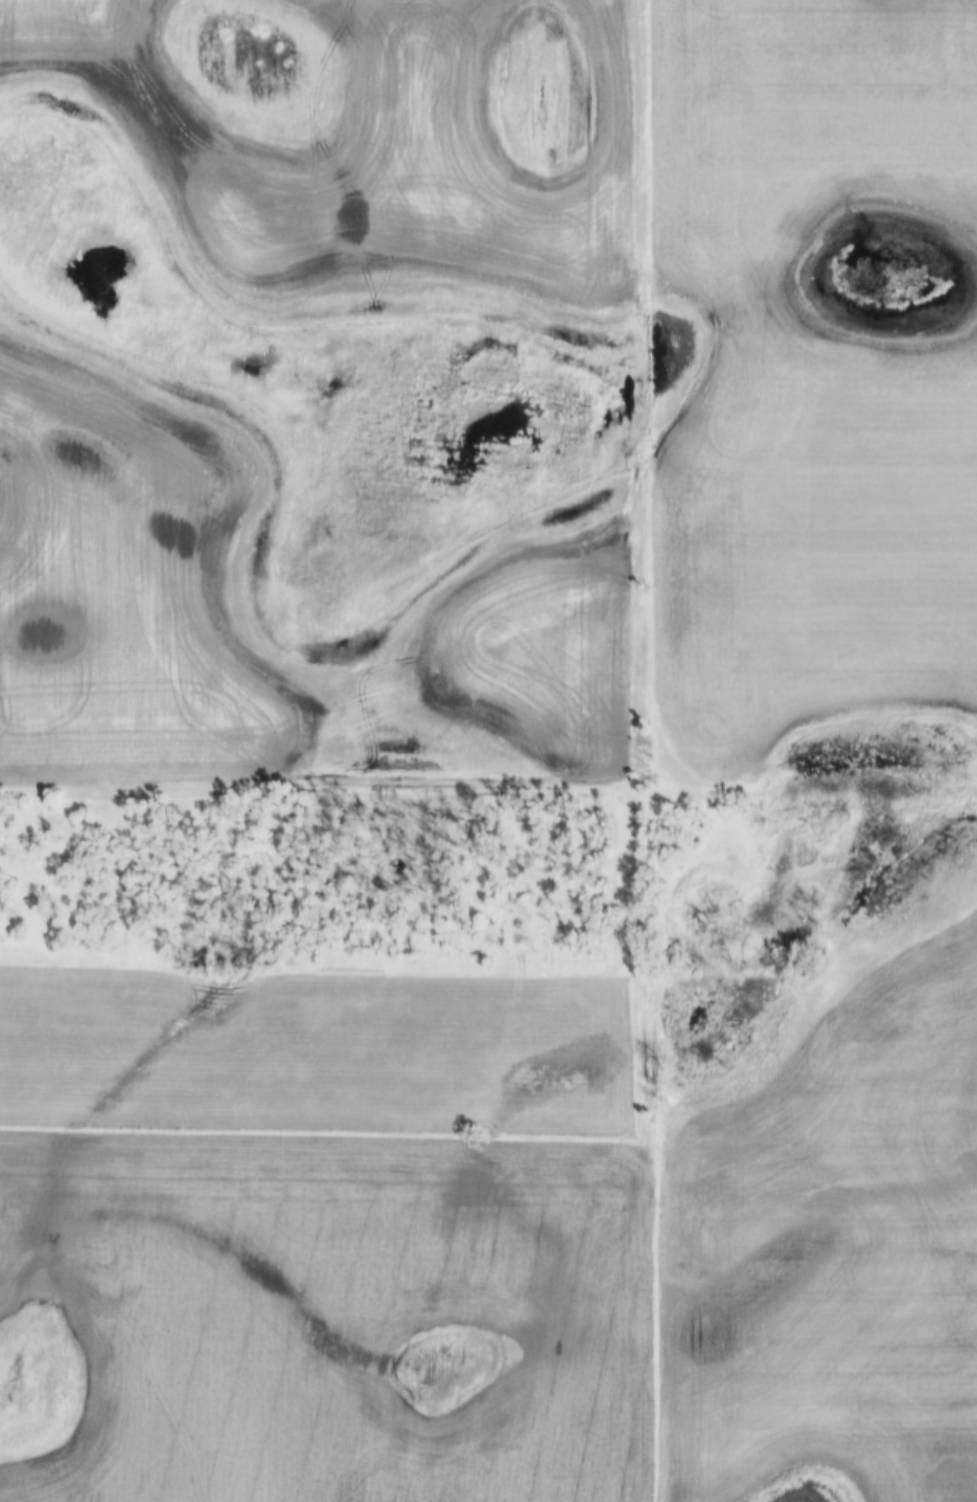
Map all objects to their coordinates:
road: (644, 398)
road: (488, 795)

